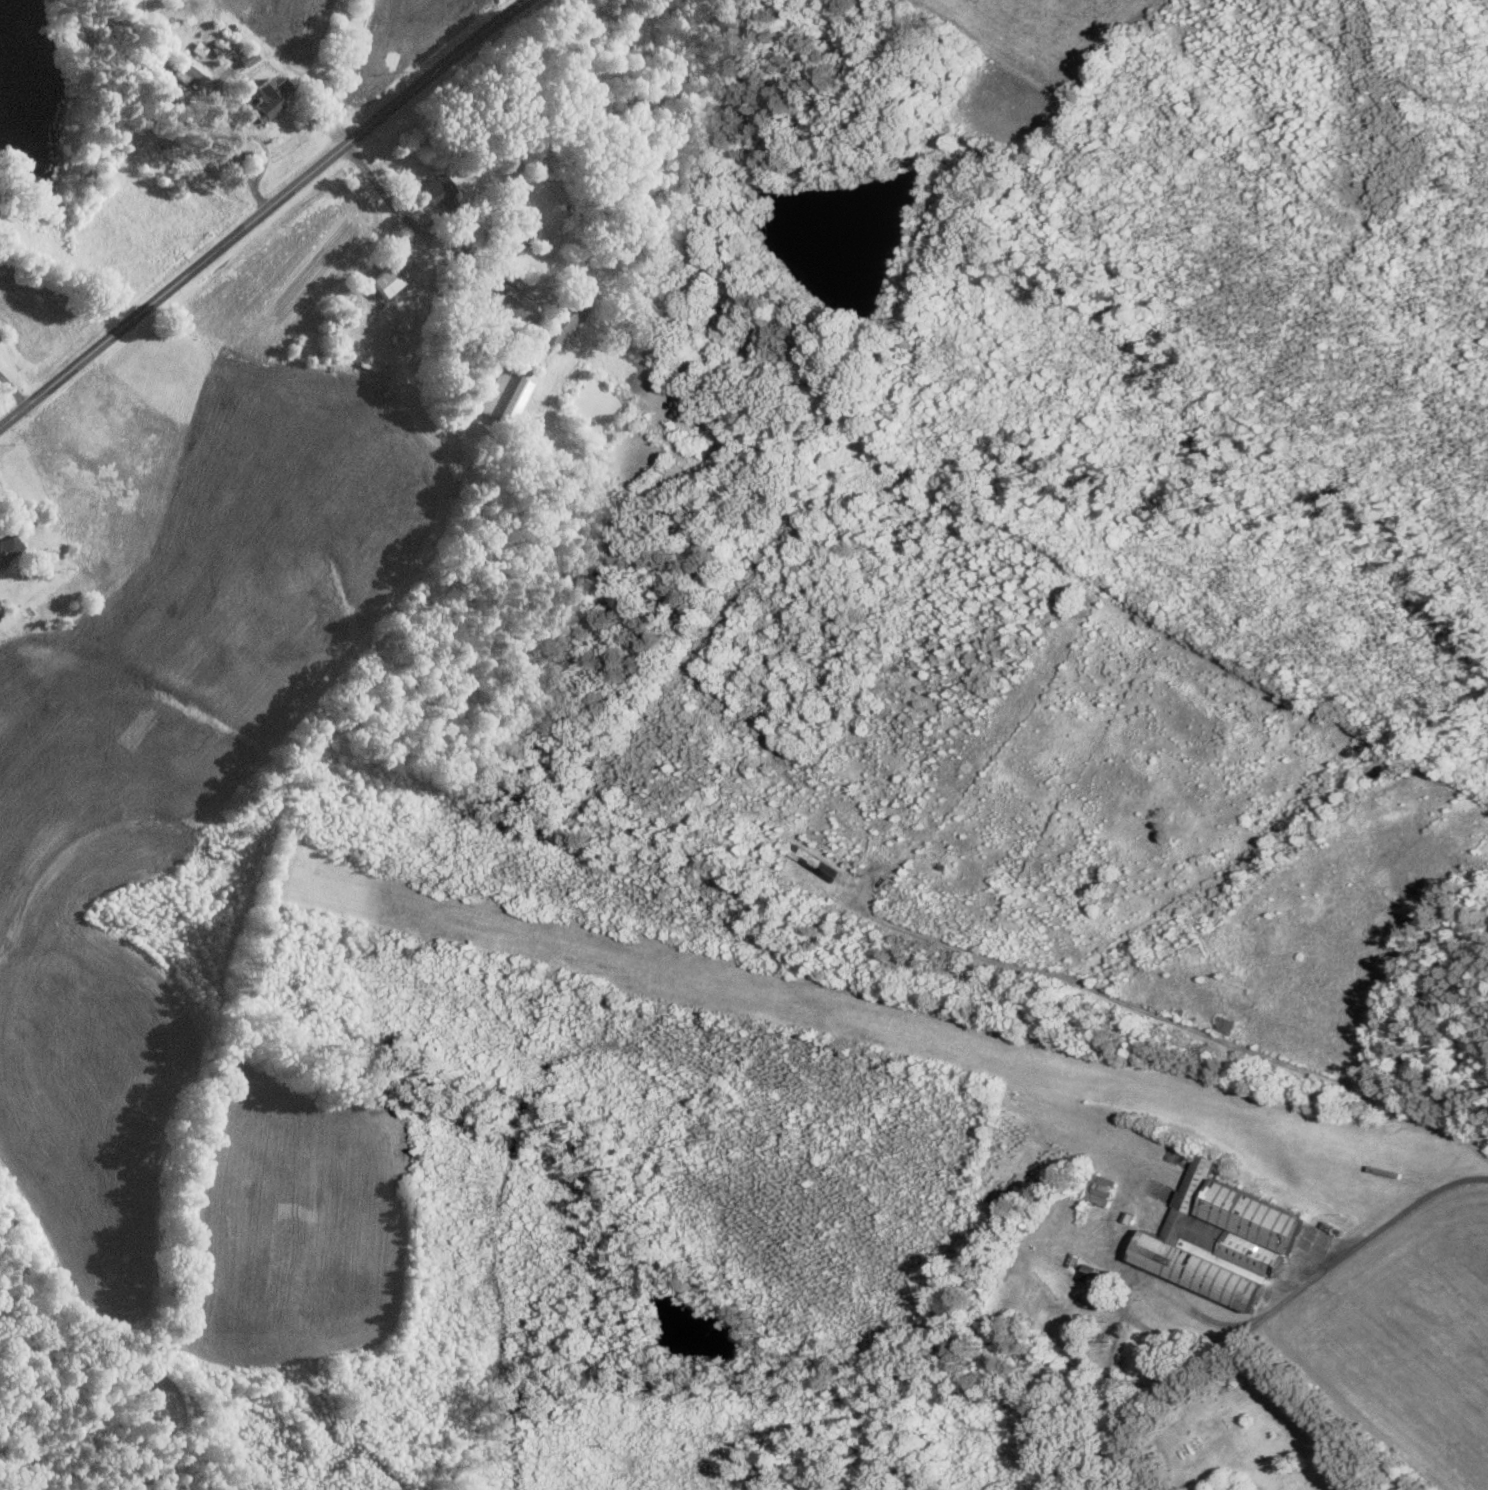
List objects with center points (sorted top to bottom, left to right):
building: (198, 50)
building: (247, 58)
building: (193, 70)
road: (235, 142)
building: (437, 190)
road: (262, 214)
building: (387, 279)
road: (424, 289)
building: (510, 302)
building: (567, 316)
road: (13, 391)
building: (504, 394)
building: (8, 547)
airport runway: (836, 1011)
road: (1174, 1020)
building: (1220, 1238)
building: (1092, 1287)
road: (1273, 1312)

